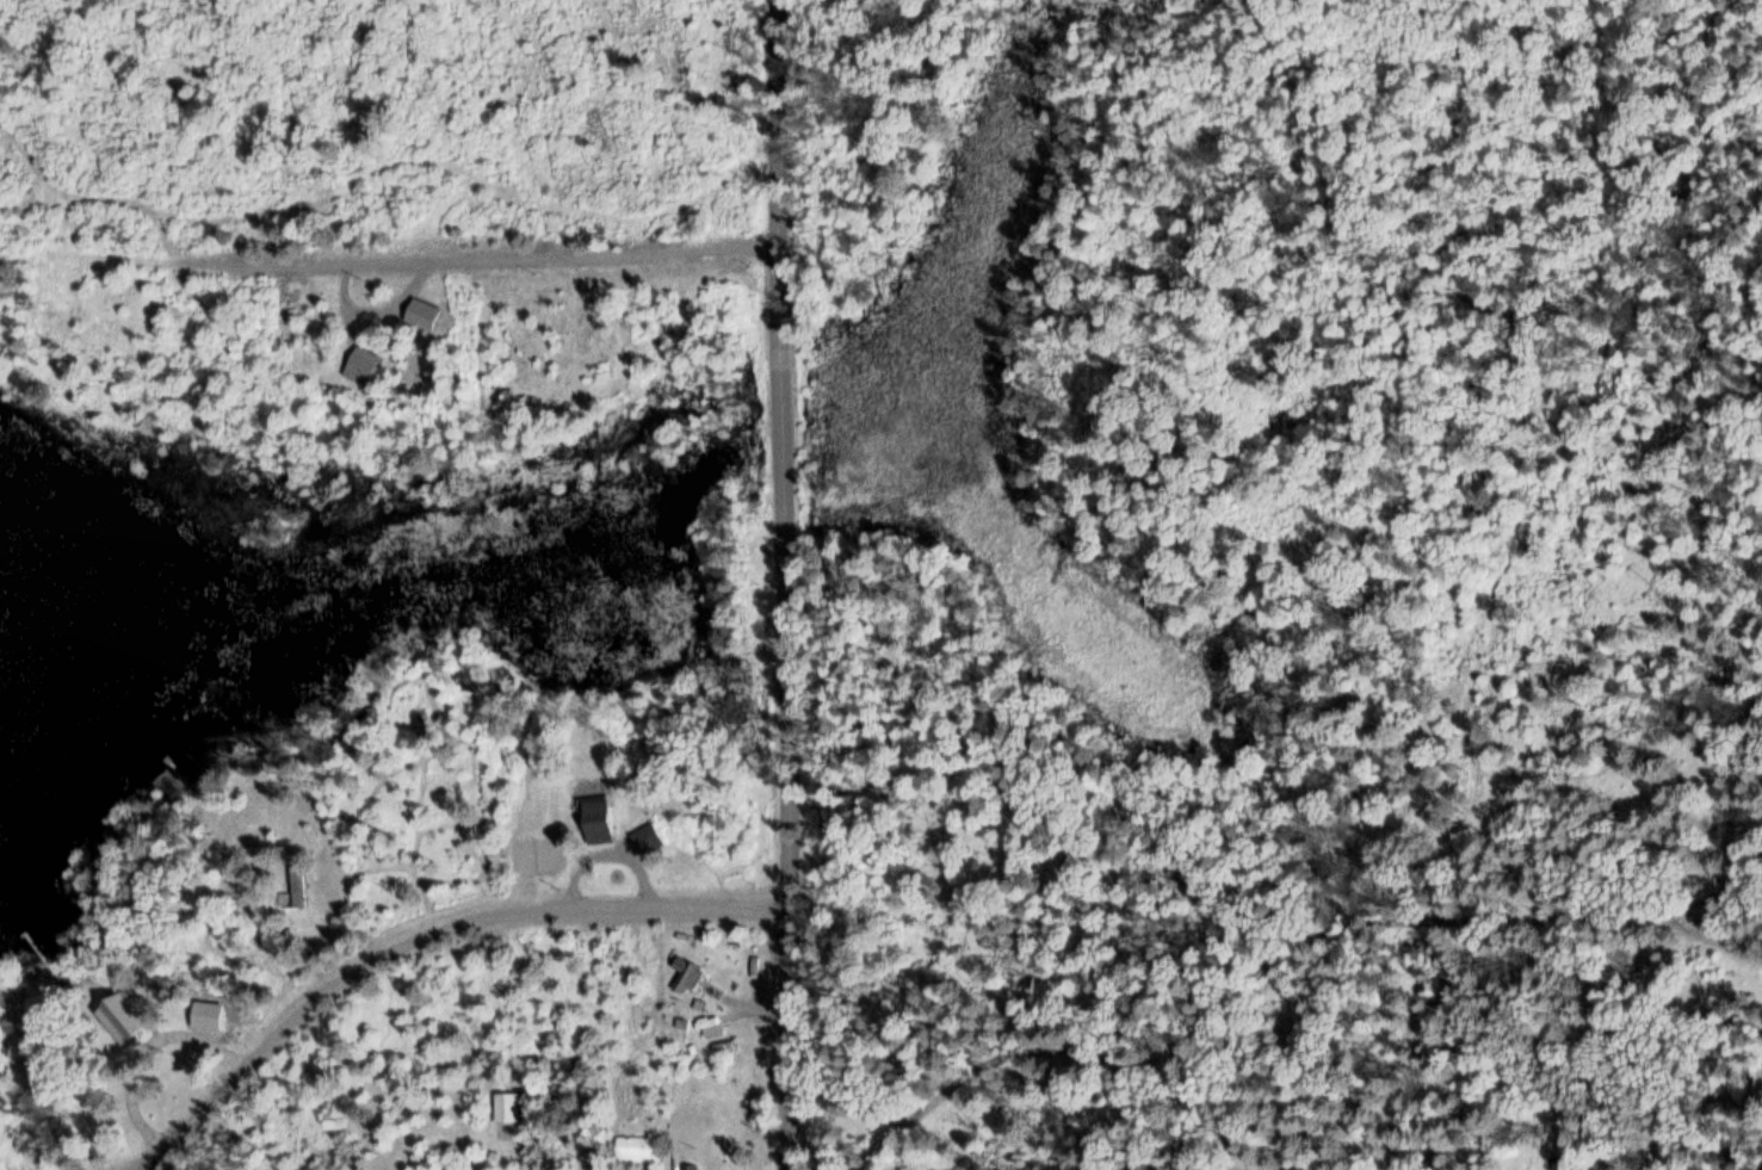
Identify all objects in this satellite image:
road: (433, 242)
building: (360, 364)
road: (786, 584)
building: (595, 821)
building: (645, 838)
road: (1711, 872)
building: (295, 881)
road: (425, 935)
road: (1271, 953)
building: (684, 974)
building: (115, 1020)
building: (505, 1107)
building: (637, 1149)
building: (586, 1160)

